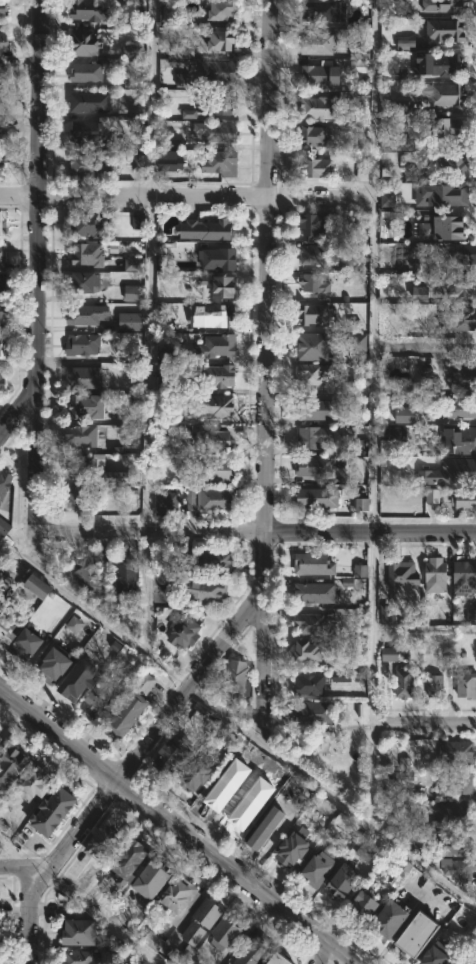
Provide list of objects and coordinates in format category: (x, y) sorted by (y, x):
building: (443, 4)
building: (3, 8)
building: (92, 10)
building: (323, 10)
building: (223, 11)
building: (169, 16)
building: (445, 29)
building: (223, 39)
building: (4, 41)
building: (85, 42)
building: (320, 43)
building: (405, 43)
building: (181, 49)
building: (128, 50)
building: (358, 53)
building: (439, 63)
building: (358, 67)
building: (220, 69)
building: (3, 71)
building: (87, 71)
building: (323, 74)
building: (130, 79)
building: (182, 80)
building: (445, 93)
road: (151, 98)
building: (2, 100)
building: (90, 101)
building: (224, 102)
building: (326, 105)
building: (402, 108)
building: (189, 114)
building: (450, 126)
building: (88, 130)
building: (220, 131)
building: (3, 132)
building: (315, 134)
building: (404, 144)
building: (171, 160)
building: (137, 162)
building: (221, 162)
building: (86, 163)
building: (453, 165)
building: (316, 166)
building: (3, 170)
building: (411, 174)
building: (362, 175)
road: (186, 195)
building: (441, 195)
road: (39, 220)
building: (2, 221)
building: (137, 222)
building: (91, 223)
building: (314, 223)
building: (444, 227)
building: (207, 229)
building: (89, 253)
building: (465, 253)
building: (316, 254)
building: (2, 258)
building: (219, 258)
building: (133, 264)
road: (268, 267)
building: (83, 281)
building: (221, 284)
building: (458, 284)
building: (316, 285)
building: (2, 286)
building: (133, 293)
building: (420, 294)
building: (217, 313)
building: (2, 314)
building: (83, 314)
building: (315, 314)
building: (459, 318)
building: (130, 321)
building: (353, 325)
building: (359, 342)
building: (83, 344)
building: (1, 345)
building: (220, 345)
building: (316, 345)
road: (425, 349)
road: (150, 365)
building: (316, 373)
building: (464, 374)
building: (215, 376)
building: (84, 377)
building: (0, 378)
building: (350, 387)
building: (89, 405)
building: (215, 405)
building: (459, 408)
building: (318, 409)
building: (404, 415)
road: (375, 416)
building: (398, 434)
building: (315, 436)
building: (79, 438)
building: (215, 440)
building: (462, 440)
road: (35, 451)
building: (315, 466)
building: (85, 467)
building: (215, 469)
building: (465, 474)
building: (117, 478)
building: (4, 484)
building: (431, 495)
building: (85, 497)
building: (207, 498)
building: (319, 498)
building: (464, 500)
building: (167, 503)
building: (361, 504)
building: (4, 527)
road: (371, 533)
road: (151, 535)
building: (216, 560)
building: (314, 563)
building: (360, 570)
building: (437, 574)
building: (403, 575)
building: (89, 576)
building: (127, 576)
building: (465, 577)
building: (38, 586)
building: (207, 591)
building: (318, 592)
building: (1, 596)
road: (147, 596)
building: (384, 613)
building: (471, 616)
building: (313, 623)
building: (74, 624)
building: (7, 626)
building: (183, 631)
building: (27, 644)
building: (309, 649)
building: (389, 654)
road: (260, 661)
building: (55, 664)
building: (340, 676)
building: (237, 678)
building: (404, 682)
building: (310, 685)
building: (466, 685)
building: (436, 686)
building: (85, 689)
building: (132, 706)
building: (315, 713)
road: (425, 724)
road: (355, 725)
road: (237, 729)
building: (1, 737)
building: (229, 740)
road: (142, 748)
building: (457, 752)
building: (172, 755)
building: (11, 767)
building: (195, 774)
building: (36, 782)
building: (456, 784)
building: (220, 789)
building: (54, 811)
building: (453, 816)
road: (179, 823)
building: (268, 829)
building: (104, 842)
building: (455, 845)
building: (294, 846)
building: (364, 852)
building: (129, 864)
building: (321, 867)
building: (403, 867)
building: (459, 868)
road: (20, 871)
building: (154, 879)
building: (342, 881)
building: (180, 899)
road: (77, 901)
building: (367, 907)
building: (202, 921)
building: (390, 921)
building: (228, 932)
building: (80, 933)
building: (419, 936)
building: (152, 940)
building: (254, 951)
road: (327, 954)
building: (182, 955)
building: (438, 955)
building: (81, 957)
building: (280, 959)
road: (153, 961)

